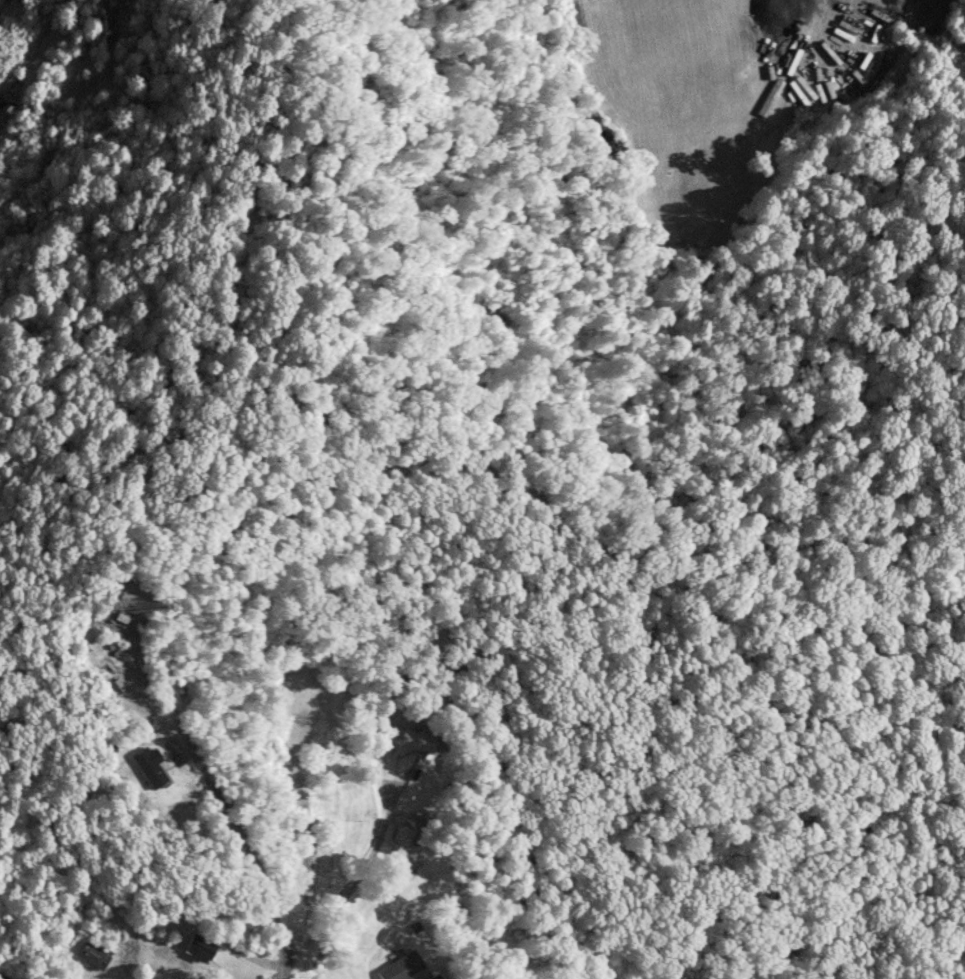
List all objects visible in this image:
road: (382, 469)
building: (407, 740)
building: (152, 767)
building: (199, 947)
building: (93, 955)
building: (402, 967)
road: (5, 977)
building: (436, 977)

